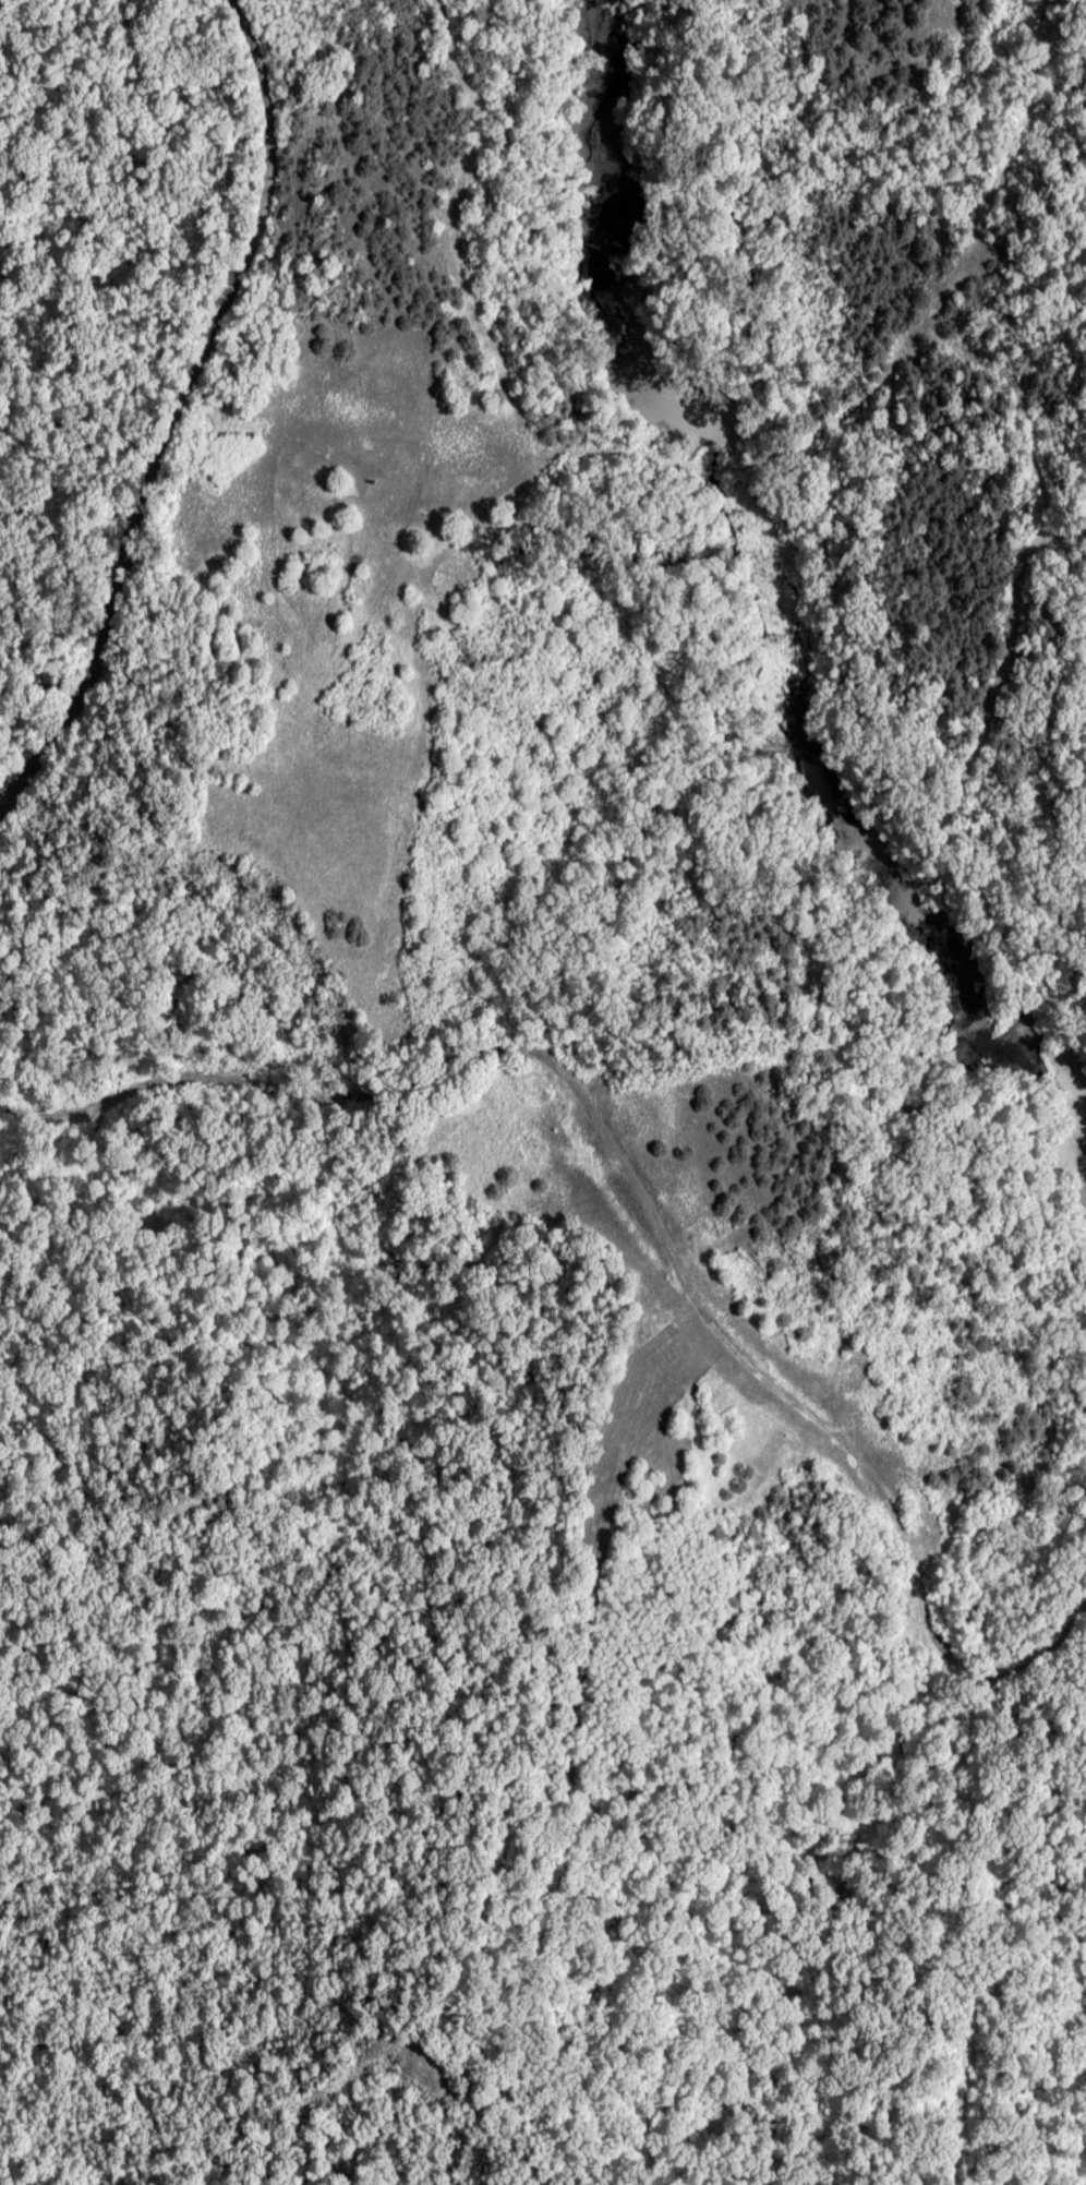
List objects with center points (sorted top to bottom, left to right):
road: (179, 424)

